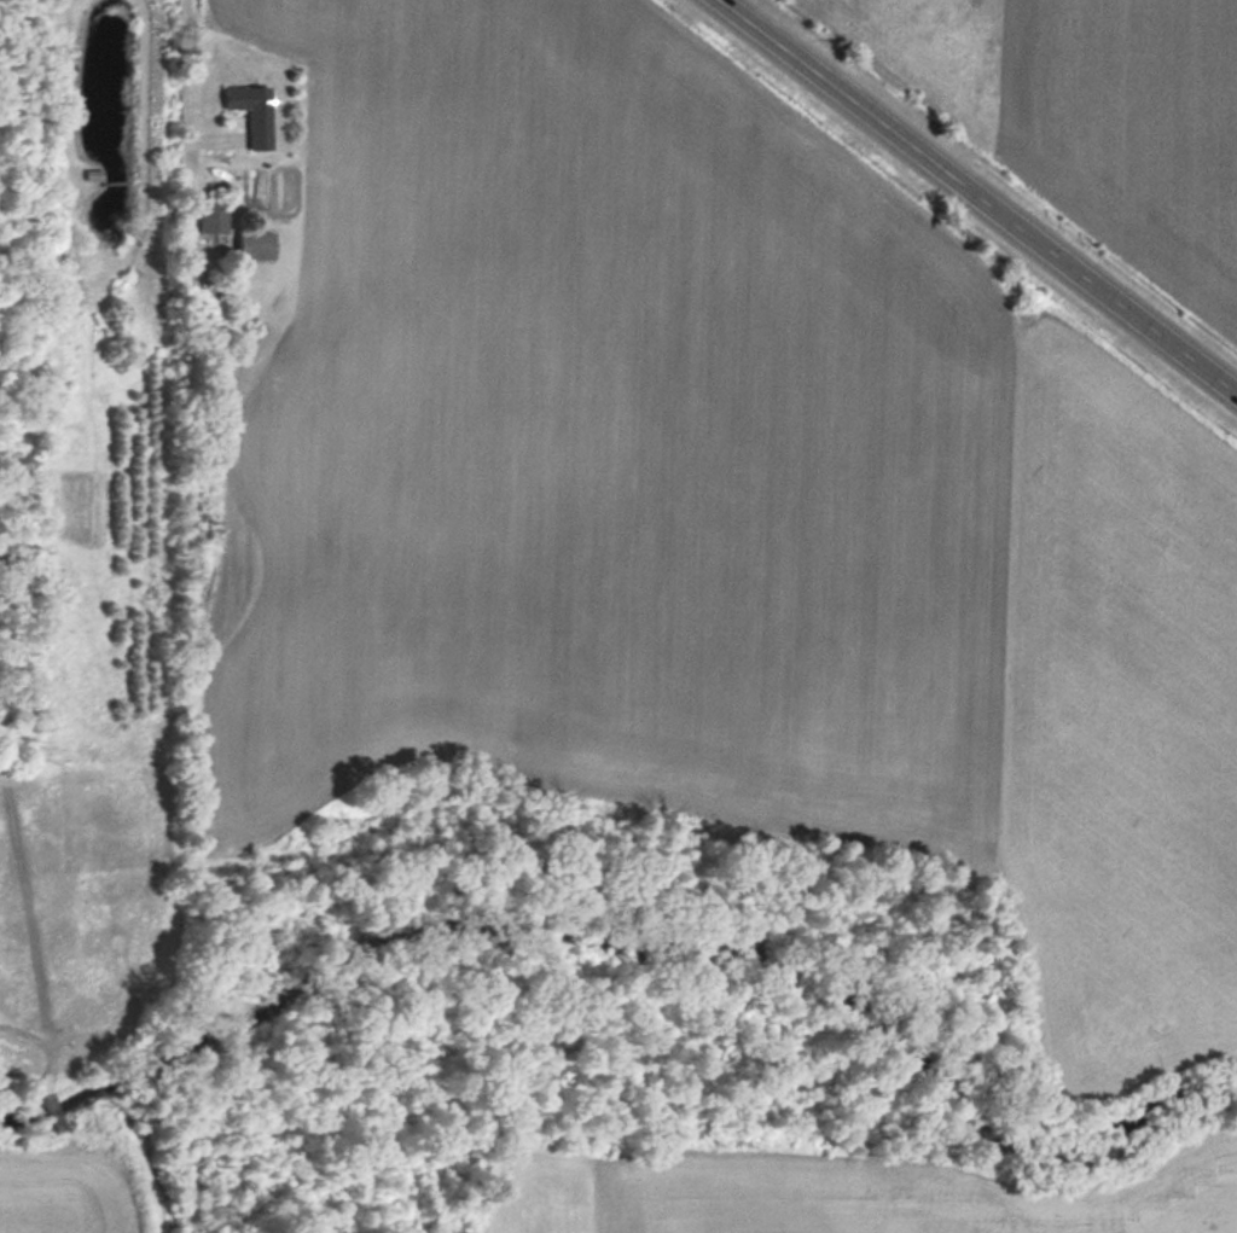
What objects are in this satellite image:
road: (187, 91)
building: (251, 111)
road: (977, 196)
building: (211, 217)
building: (254, 244)

